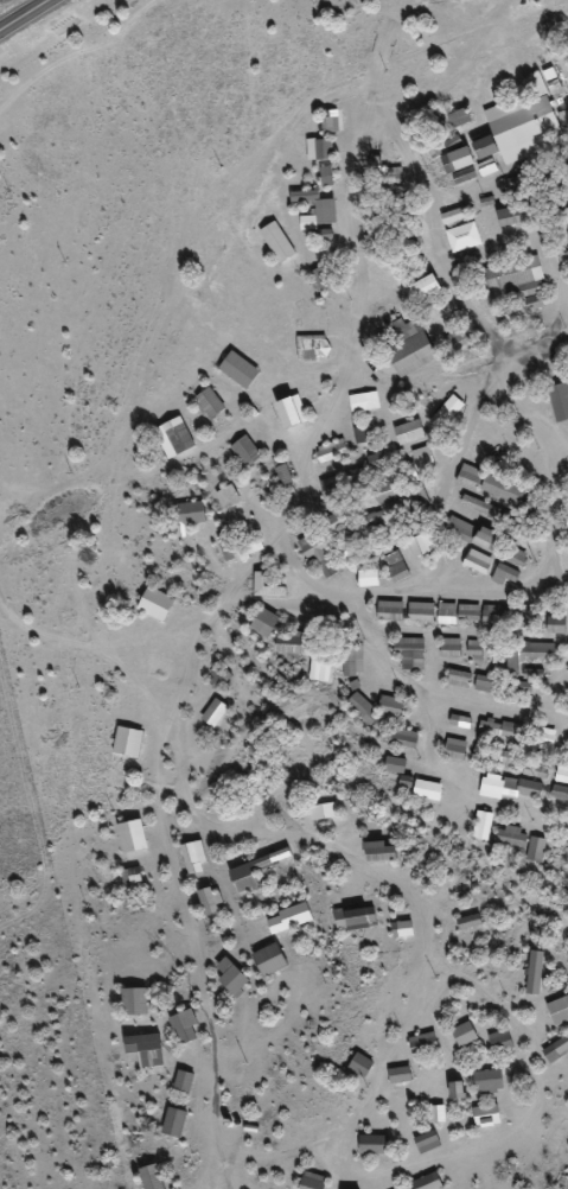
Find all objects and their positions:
road: (17, 11)
building: (459, 117)
building: (330, 123)
building: (523, 123)
building: (324, 148)
building: (460, 158)
building: (396, 174)
building: (511, 184)
building: (315, 208)
building: (513, 214)
building: (454, 215)
building: (326, 234)
building: (464, 236)
building: (277, 241)
building: (564, 261)
road: (337, 271)
building: (513, 276)
building: (321, 278)
building: (423, 287)
building: (532, 301)
building: (313, 346)
building: (410, 348)
building: (240, 369)
building: (559, 400)
building: (364, 401)
building: (210, 402)
building: (447, 412)
building: (409, 432)
building: (364, 434)
building: (174, 437)
building: (332, 450)
building: (245, 451)
building: (423, 458)
building: (376, 462)
building: (282, 471)
building: (470, 477)
building: (503, 488)
building: (331, 489)
building: (384, 491)
building: (228, 496)
building: (419, 498)
building: (480, 506)
building: (190, 513)
building: (374, 519)
building: (337, 521)
building: (567, 524)
building: (522, 530)
building: (474, 534)
building: (249, 545)
building: (419, 546)
building: (381, 547)
building: (352, 551)
building: (319, 555)
building: (477, 561)
building: (398, 571)
building: (505, 574)
building: (368, 578)
building: (267, 585)
building: (155, 603)
building: (389, 610)
building: (421, 611)
building: (458, 612)
building: (496, 613)
building: (264, 622)
building: (556, 624)
building: (292, 643)
building: (449, 647)
building: (474, 649)
building: (522, 649)
building: (410, 653)
building: (353, 660)
road: (398, 669)
building: (219, 675)
building: (459, 679)
building: (484, 683)
road: (228, 704)
building: (391, 705)
building: (215, 713)
building: (459, 720)
building: (402, 737)
building: (544, 737)
building: (567, 737)
building: (454, 749)
building: (395, 765)
building: (536, 768)
building: (561, 771)
building: (491, 786)
building: (528, 788)
building: (427, 790)
building: (560, 793)
building: (481, 825)
building: (133, 837)
building: (511, 837)
building: (536, 848)
building: (379, 852)
building: (194, 858)
building: (245, 875)
building: (130, 876)
building: (208, 902)
building: (355, 918)
building: (468, 922)
building: (401, 929)
building: (268, 960)
building: (534, 973)
building: (230, 978)
building: (133, 1002)
building: (559, 1011)
building: (183, 1028)
building: (462, 1035)
building: (499, 1041)
building: (422, 1043)
building: (556, 1049)
building: (359, 1066)
building: (398, 1075)
building: (487, 1081)
building: (181, 1082)
building: (455, 1091)
building: (436, 1114)
building: (485, 1117)
building: (172, 1124)
building: (426, 1143)
building: (372, 1145)
building: (151, 1177)
building: (311, 1182)
building: (427, 1182)

